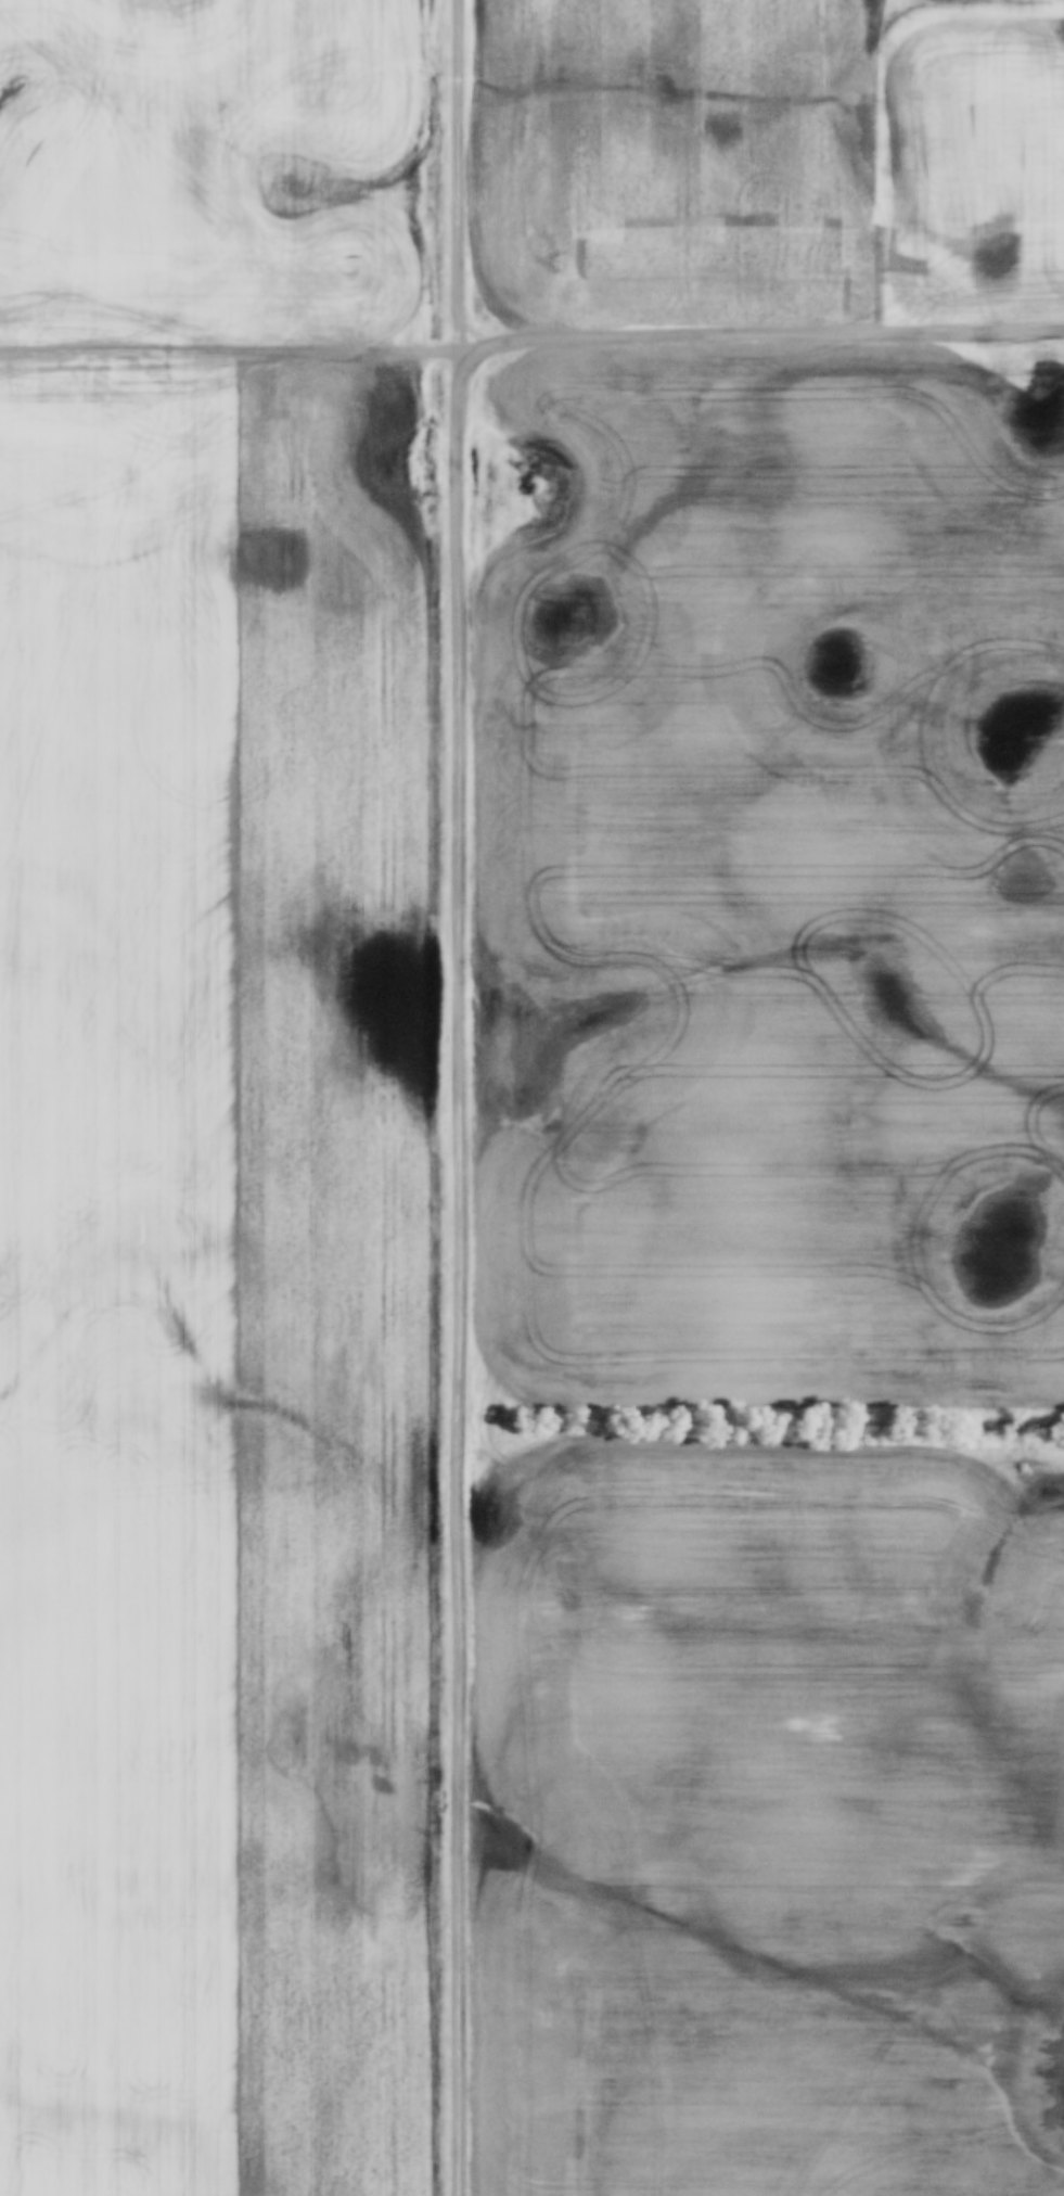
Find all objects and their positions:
road: (755, 332)
road: (454, 1097)

